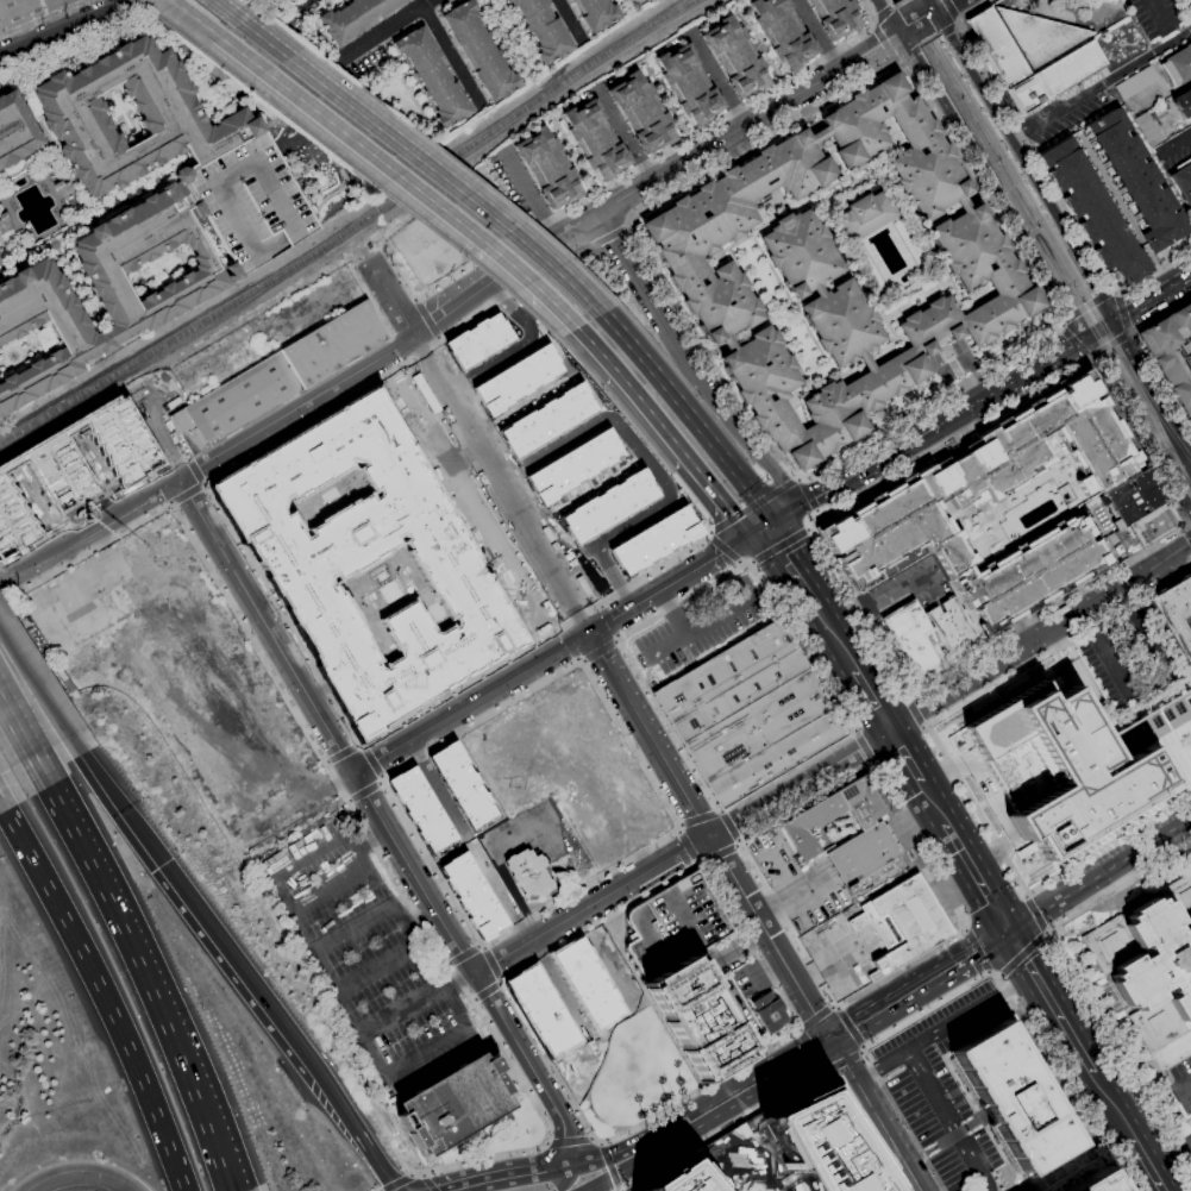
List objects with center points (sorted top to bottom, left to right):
park: (258, 0)
building: (644, 0)
building: (650, 0)
road: (898, 2)
road: (1189, 2)
road: (164, 4)
road: (257, 4)
road: (272, 4)
road: (443, 4)
road: (174, 5)
road: (322, 5)
road: (932, 5)
road: (945, 5)
road: (892, 6)
road: (952, 7)
road: (263, 8)
building: (27, 11)
road: (929, 12)
road: (162, 13)
building: (596, 13)
road: (883, 13)
road: (428, 14)
road: (1158, 14)
road: (158, 15)
road: (886, 15)
road: (44, 18)
road: (194, 18)
road: (236, 18)
building: (356, 18)
building: (835, 18)
road: (958, 18)
road: (571, 19)
road: (915, 19)
road: (275, 20)
road: (872, 20)
road: (268, 26)
road: (871, 26)
road: (945, 26)
road: (955, 26)
road: (901, 27)
building: (544, 29)
road: (946, 29)
road: (73, 30)
road: (287, 32)
road: (938, 32)
building: (779, 33)
road: (927, 39)
road: (883, 42)
road: (357, 48)
road: (309, 50)
building: (481, 50)
road: (911, 51)
building: (1034, 54)
road: (283, 55)
road: (452, 55)
road: (286, 57)
building: (733, 58)
road: (895, 58)
road: (321, 61)
road: (903, 61)
road: (979, 63)
building: (1178, 65)
road: (331, 67)
railway: (940, 68)
building: (434, 76)
road: (344, 77)
road: (716, 77)
building: (1136, 82)
building: (690, 84)
road: (1101, 86)
road: (232, 94)
building: (25, 96)
building: (1183, 102)
building: (640, 113)
building: (76, 118)
road: (276, 119)
road: (306, 126)
road: (324, 126)
railway: (499, 128)
building: (1148, 128)
building: (15, 130)
road: (422, 130)
road: (293, 131)
road: (723, 137)
road: (352, 140)
building: (596, 140)
road: (345, 161)
railway: (1007, 163)
building: (550, 168)
road: (632, 169)
road: (1036, 181)
building: (1183, 181)
road: (349, 182)
road: (993, 182)
building: (1136, 182)
building: (64, 189)
building: (249, 202)
parking lot: (249, 202)
road: (477, 205)
building: (1090, 211)
road: (634, 215)
building: (866, 215)
building: (5, 222)
road: (627, 227)
railway: (1039, 234)
road: (607, 238)
road: (1087, 250)
road: (578, 252)
building: (146, 261)
building: (835, 270)
road: (529, 280)
road: (482, 289)
road: (1111, 290)
parking lot: (559, 292)
road: (1116, 292)
road: (1152, 297)
road: (371, 300)
road: (393, 300)
road: (647, 300)
road: (1086, 306)
road: (1122, 309)
road: (427, 316)
road: (531, 321)
road: (1059, 321)
traffic signals: (1115, 321)
road: (1058, 326)
road: (1102, 328)
road: (1129, 328)
road: (1128, 333)
traffic signals: (1090, 336)
building: (88, 339)
building: (481, 339)
road: (527, 340)
road: (1073, 340)
building: (334, 343)
road: (1108, 343)
road: (557, 346)
road: (397, 347)
road: (422, 350)
railway: (152, 351)
road: (1142, 352)
building: (1172, 352)
road: (1087, 353)
road: (1090, 355)
fountain: (577, 369)
building: (518, 380)
road: (1014, 380)
road: (550, 388)
road: (1152, 390)
railway: (1146, 393)
road: (638, 396)
railway: (1139, 401)
building: (236, 402)
road: (299, 409)
road: (688, 413)
building: (546, 419)
road: (1139, 421)
road: (305, 422)
road: (635, 428)
road: (1187, 447)
road: (895, 449)
road: (756, 451)
building: (575, 465)
building: (71, 470)
road: (195, 470)
road: (657, 476)
railway: (1186, 476)
road: (504, 483)
road: (585, 489)
road: (187, 493)
road: (807, 494)
building: (1133, 497)
building: (910, 500)
road: (809, 501)
building: (607, 506)
road: (754, 506)
road: (729, 508)
road: (94, 512)
road: (817, 514)
road: (1185, 522)
building: (1153, 525)
road: (1189, 526)
traffic signals: (766, 528)
road: (808, 528)
road: (1190, 528)
road: (90, 533)
building: (653, 540)
building: (1127, 540)
road: (779, 544)
road: (726, 546)
road: (86, 552)
building: (309, 557)
road: (744, 560)
road: (751, 560)
road: (791, 566)
road: (656, 569)
road: (679, 579)
road: (682, 598)
road: (281, 613)
road: (671, 613)
building: (1176, 614)
road: (579, 615)
road: (610, 620)
road: (700, 625)
road: (267, 626)
parking lot: (702, 626)
building: (952, 627)
road: (1040, 635)
building: (908, 637)
road: (835, 639)
road: (569, 645)
road: (801, 646)
road: (598, 650)
road: (1104, 652)
road: (32, 684)
road: (458, 688)
road: (872, 700)
road: (471, 701)
building: (750, 713)
road: (14, 729)
road: (651, 734)
road: (438, 742)
road: (628, 744)
road: (863, 746)
road: (341, 752)
road: (847, 757)
road: (372, 761)
road: (944, 761)
building: (1074, 763)
road: (915, 769)
building: (463, 784)
road: (364, 789)
road: (708, 794)
road: (115, 800)
building: (421, 810)
road: (500, 813)
flagpole: (886, 817)
road: (697, 819)
road: (362, 822)
road: (728, 827)
building: (873, 838)
road: (466, 840)
parking lot: (527, 840)
road: (685, 844)
road: (717, 852)
traffic signals: (164, 865)
road: (973, 870)
road: (412, 873)
building: (529, 875)
road: (638, 875)
road: (1098, 875)
road: (277, 882)
building: (471, 892)
road: (782, 892)
road: (538, 913)
road: (1036, 913)
road: (597, 921)
road: (533, 923)
building: (902, 923)
building: (675, 924)
flagpole: (955, 926)
road: (967, 927)
traffic signals: (1007, 930)
road: (770, 936)
road: (748, 946)
road: (739, 948)
road: (982, 952)
road: (1021, 952)
road: (463, 954)
road: (1022, 954)
road: (316, 955)
parking lot: (368, 957)
road: (490, 964)
road: (140, 967)
building: (1153, 969)
road: (604, 974)
road: (817, 976)
road: (246, 978)
parking lot: (750, 979)
road: (1077, 982)
road: (919, 985)
road: (562, 986)
building: (590, 986)
road: (965, 988)
road: (485, 991)
road: (102, 992)
road: (652, 1003)
building: (546, 1011)
building: (769, 1013)
road: (817, 1016)
building: (697, 1017)
road: (740, 1018)
road: (850, 1026)
road: (945, 1027)
road: (802, 1028)
road: (801, 1032)
traffic signals: (830, 1038)
road: (808, 1046)
road: (935, 1047)
road: (860, 1051)
road: (1080, 1055)
road: (380, 1059)
road: (546, 1060)
road: (842, 1060)
road: (819, 1064)
road: (531, 1066)
road: (1186, 1089)
road: (697, 1090)
parking lot: (1172, 1090)
road: (782, 1091)
parking lot: (949, 1092)
building: (1017, 1095)
road: (720, 1102)
building: (455, 1104)
road: (877, 1114)
road: (951, 1118)
road: (977, 1120)
road: (983, 1122)
parking lot: (1184, 1135)
road: (952, 1136)
road: (364, 1140)
road: (569, 1140)
road: (929, 1149)
building: (778, 1152)
road: (1170, 1158)
road: (1061, 1160)
road: (475, 1161)
road: (1143, 1164)
traffic signals: (571, 1165)
road: (591, 1165)
road: (610, 1165)
road: (1057, 1166)
road: (1061, 1171)
road: (510, 1173)
road: (603, 1174)
road: (61, 1176)
traffic signals: (99, 1176)
road: (569, 1178)
building: (1084, 1179)
road: (117, 1180)
road: (397, 1183)
road: (426, 1183)
road: (585, 1186)
road: (597, 1186)
road: (619, 1190)

